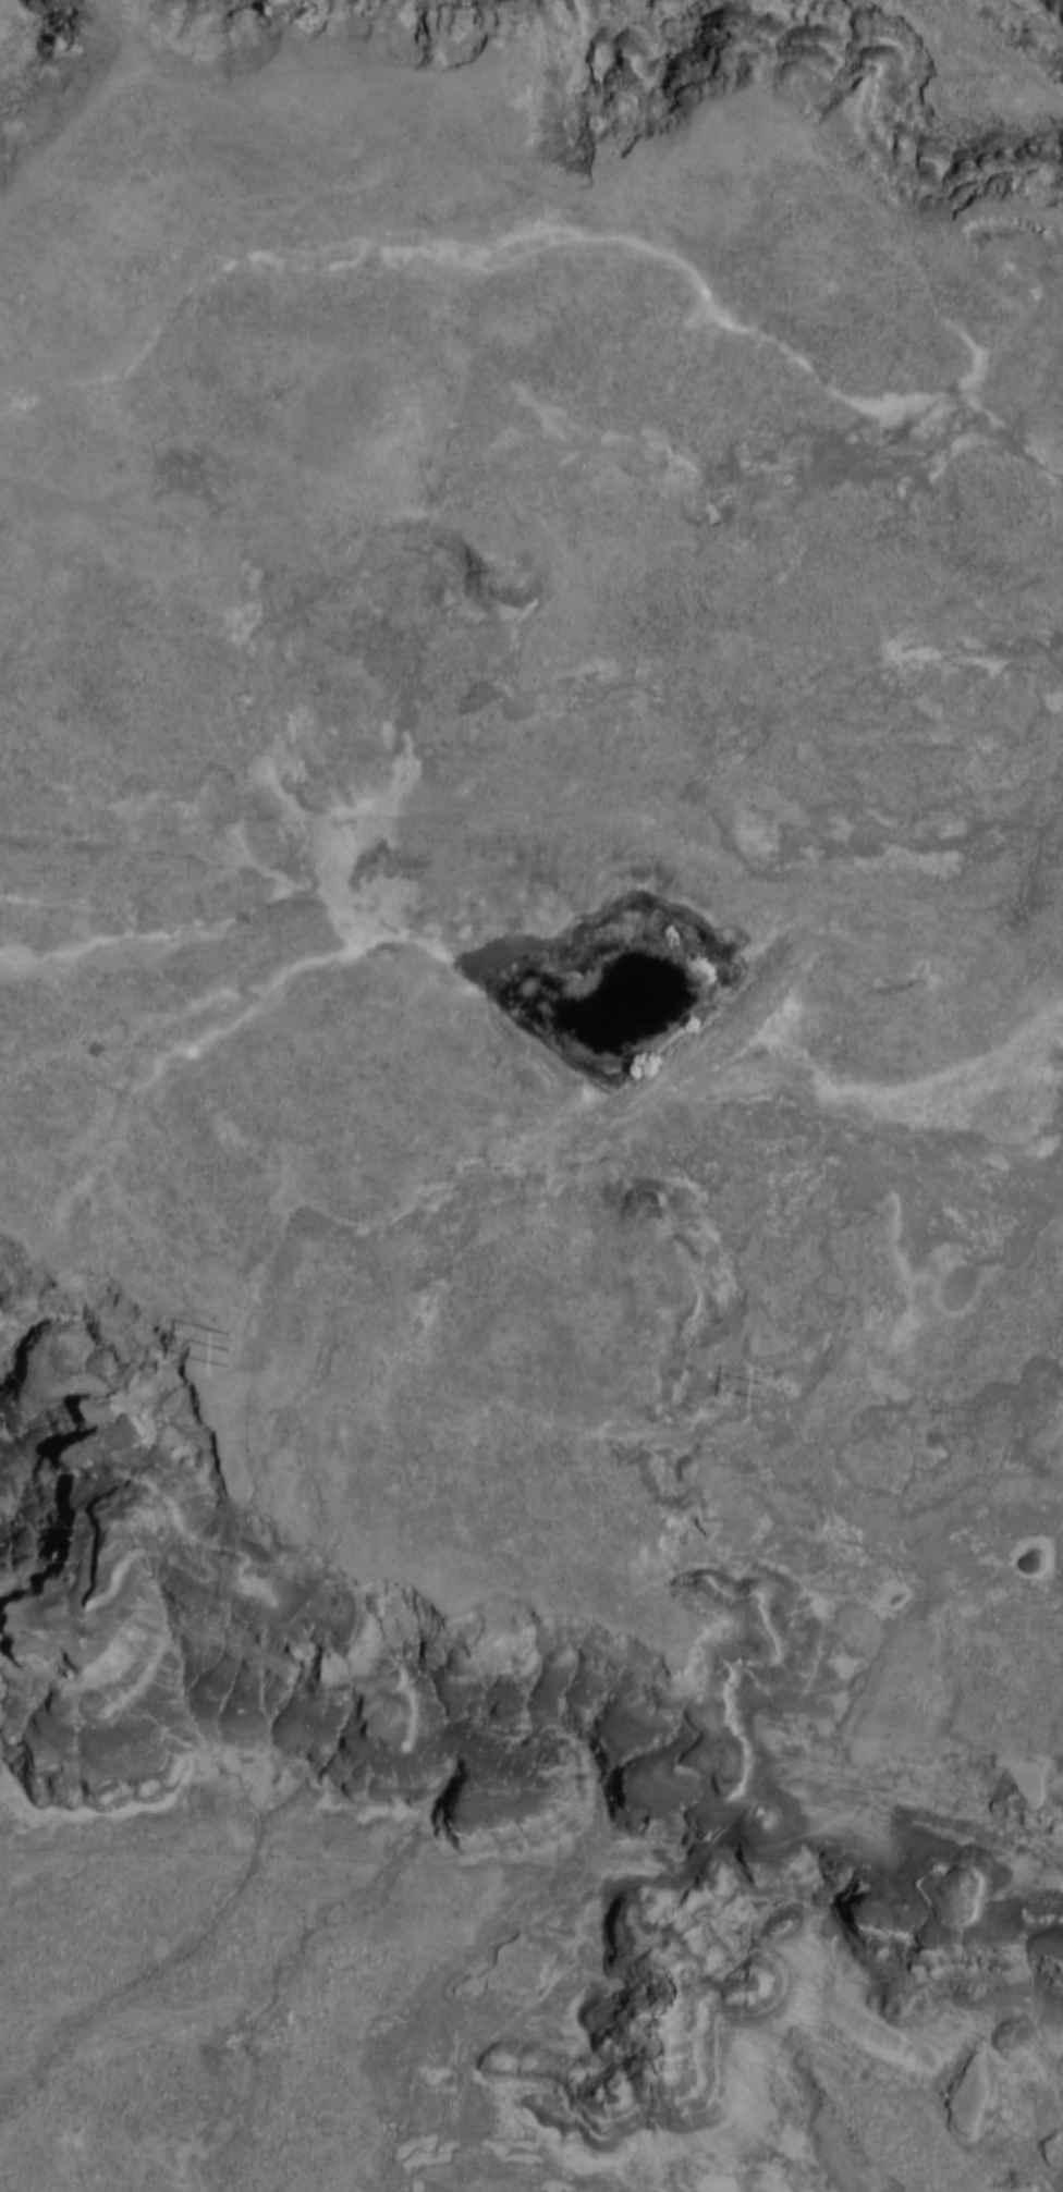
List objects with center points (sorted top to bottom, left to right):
road: (566, 817)
power tower: (233, 1350)
power tower: (765, 1392)

